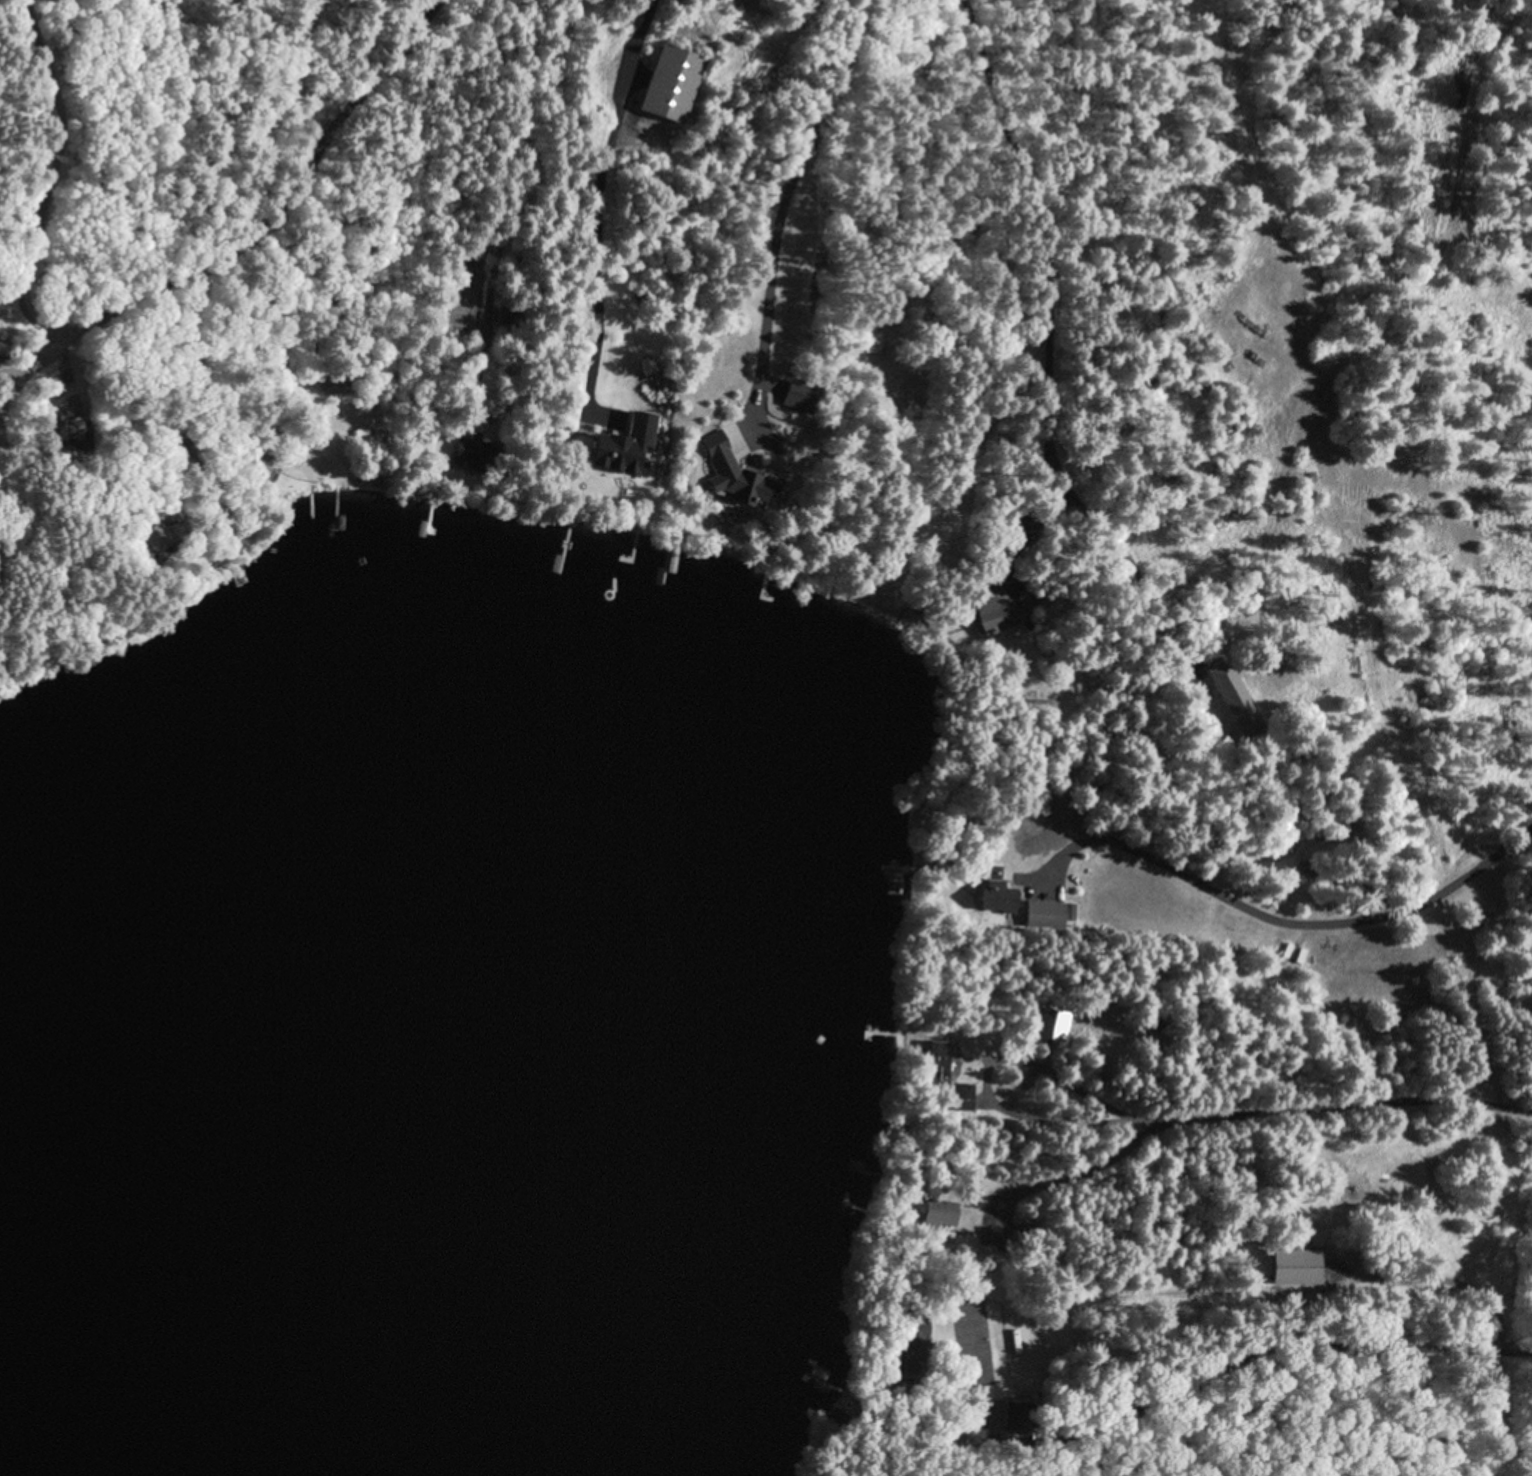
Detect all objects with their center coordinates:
building: (671, 80)
road: (43, 87)
road: (289, 129)
road: (603, 194)
road: (790, 202)
road: (181, 276)
building: (503, 313)
road: (1376, 328)
building: (866, 338)
building: (4, 345)
building: (333, 379)
building: (799, 394)
building: (266, 423)
building: (640, 429)
building: (76, 430)
building: (1000, 435)
building: (471, 449)
building: (734, 470)
building: (253, 471)
building: (416, 475)
building: (210, 531)
building: (232, 533)
building: (158, 534)
building: (1028, 598)
building: (995, 612)
building: (1027, 620)
building: (1235, 696)
building: (993, 895)
building: (1068, 909)
building: (1041, 912)
road: (1301, 921)
building: (1049, 1024)
building: (933, 1063)
road: (1092, 1091)
building: (960, 1095)
road: (1244, 1116)
building: (932, 1213)
building: (1028, 1228)
building: (1298, 1264)
building: (912, 1342)
building: (847, 1381)
building: (1018, 1413)
building: (836, 1416)

